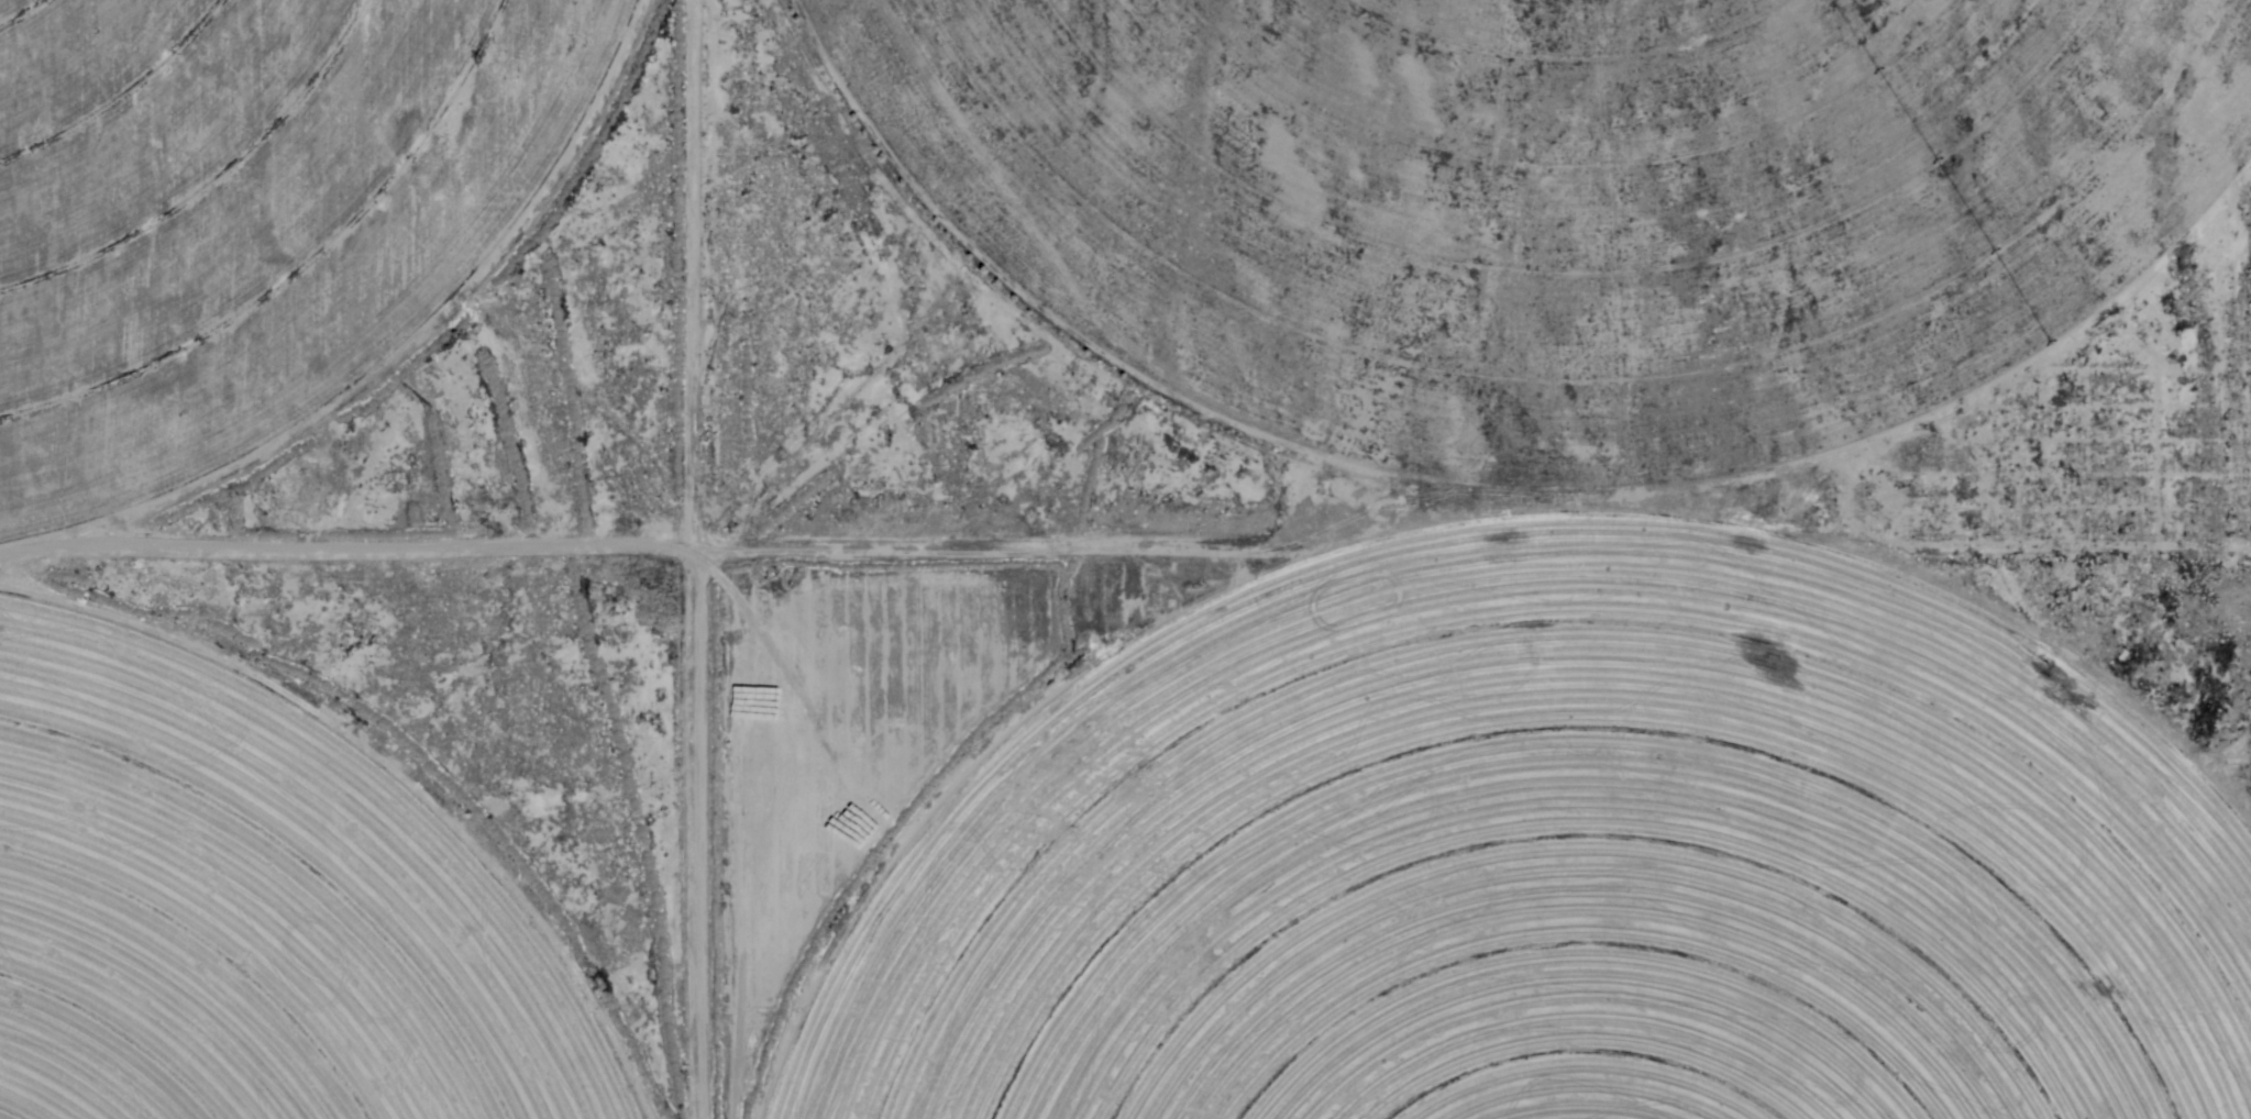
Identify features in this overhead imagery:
crop: (254, 223)
road: (1445, 554)
road: (640, 558)
crop: (1548, 576)
crop: (254, 907)

